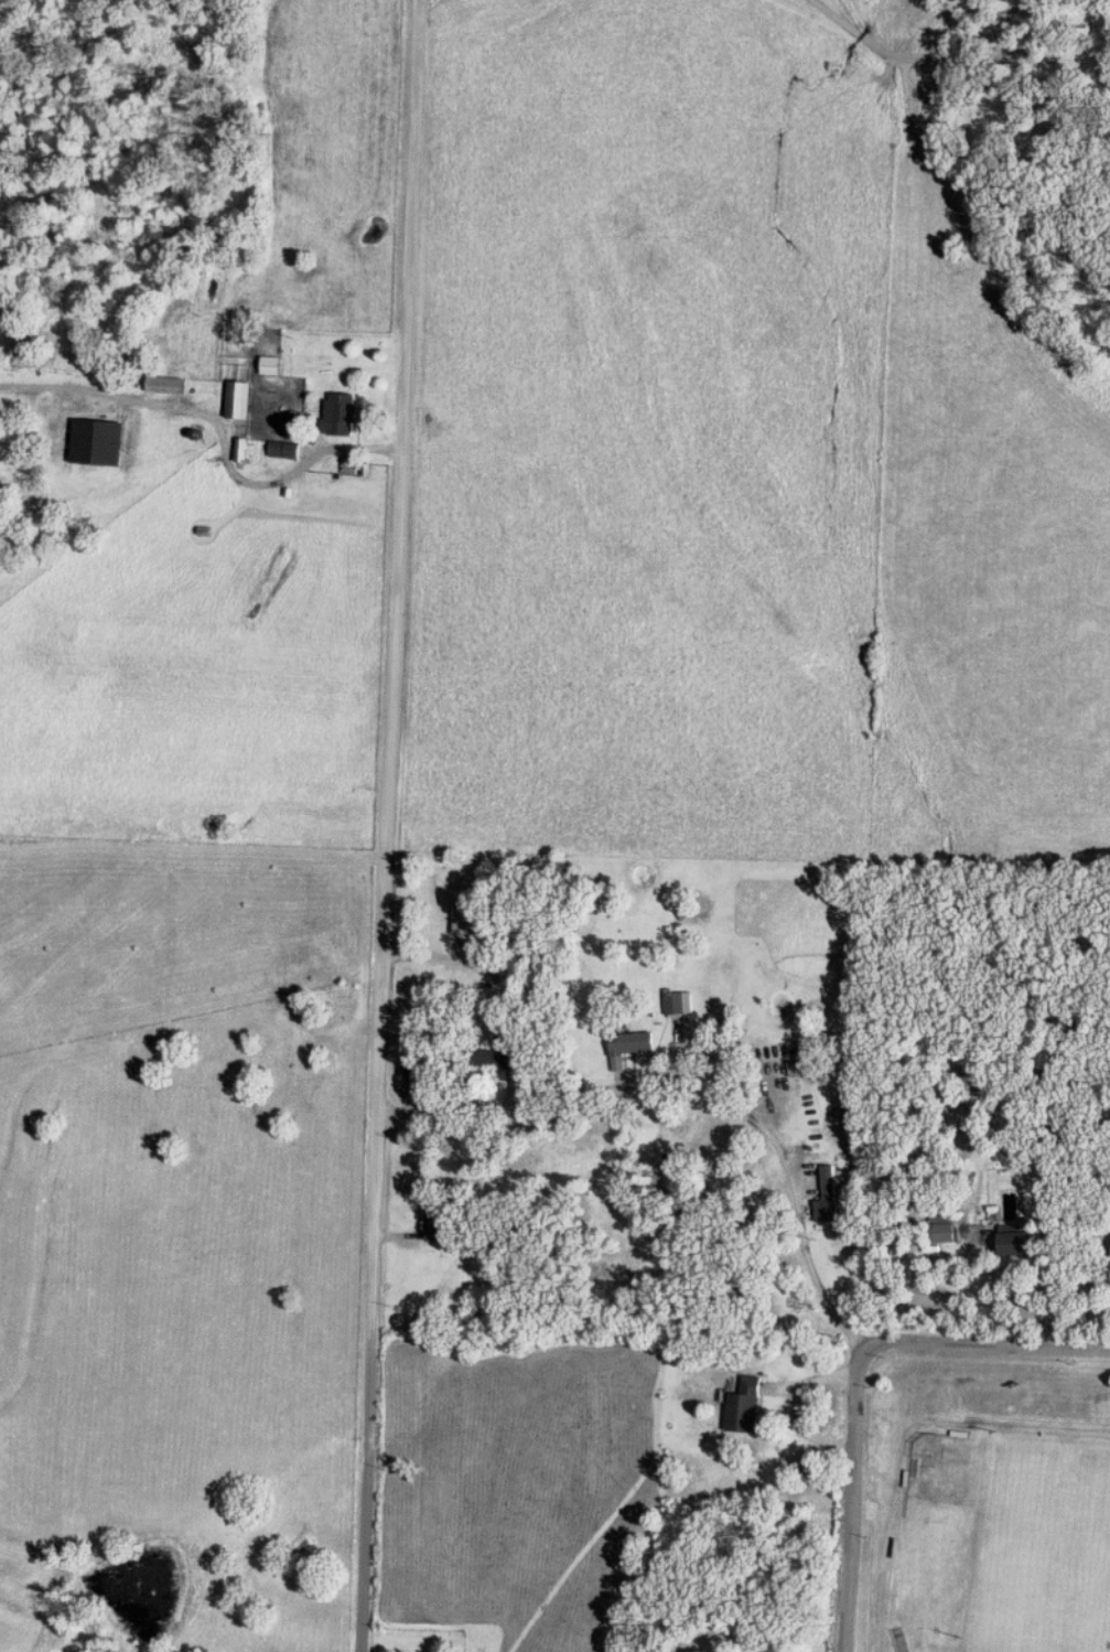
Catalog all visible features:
road: (922, 60)
road: (761, 244)
building: (272, 366)
building: (168, 385)
building: (240, 400)
building: (342, 415)
road: (225, 440)
building: (99, 442)
building: (285, 450)
crop: (735, 461)
road: (397, 663)
building: (465, 919)
road: (430, 954)
building: (675, 1004)
building: (633, 1044)
building: (498, 1055)
building: (418, 1081)
road: (697, 1096)
building: (830, 1192)
building: (439, 1225)
building: (944, 1234)
building: (1019, 1240)
road: (988, 1343)
building: (745, 1406)
road: (368, 1489)
road: (853, 1498)

